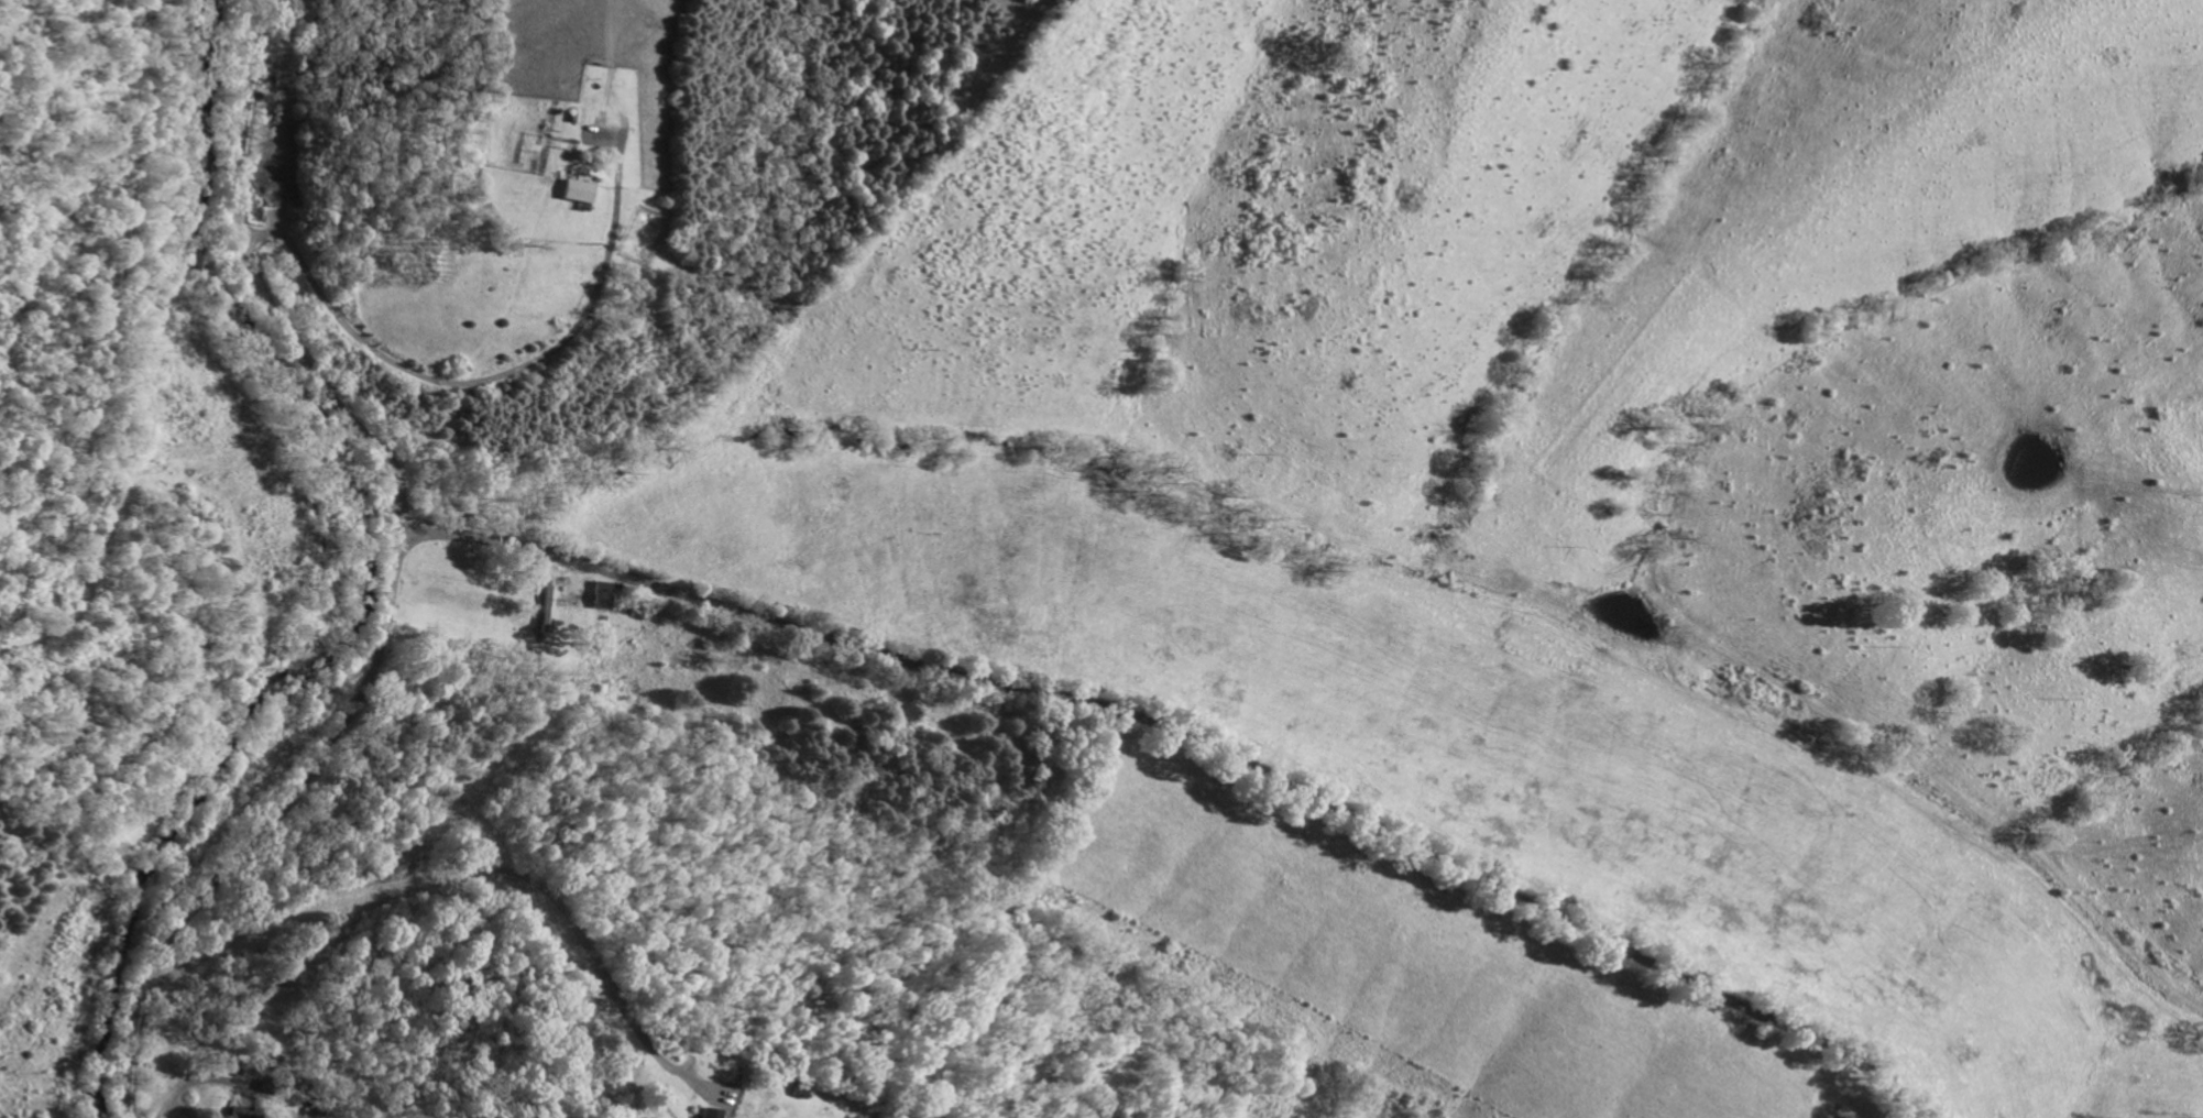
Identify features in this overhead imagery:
building: (574, 190)
road: (474, 379)
road: (393, 572)
building: (604, 594)
building: (548, 609)
road: (1184, 738)
road: (464, 870)
road: (191, 1082)
building: (711, 1112)

